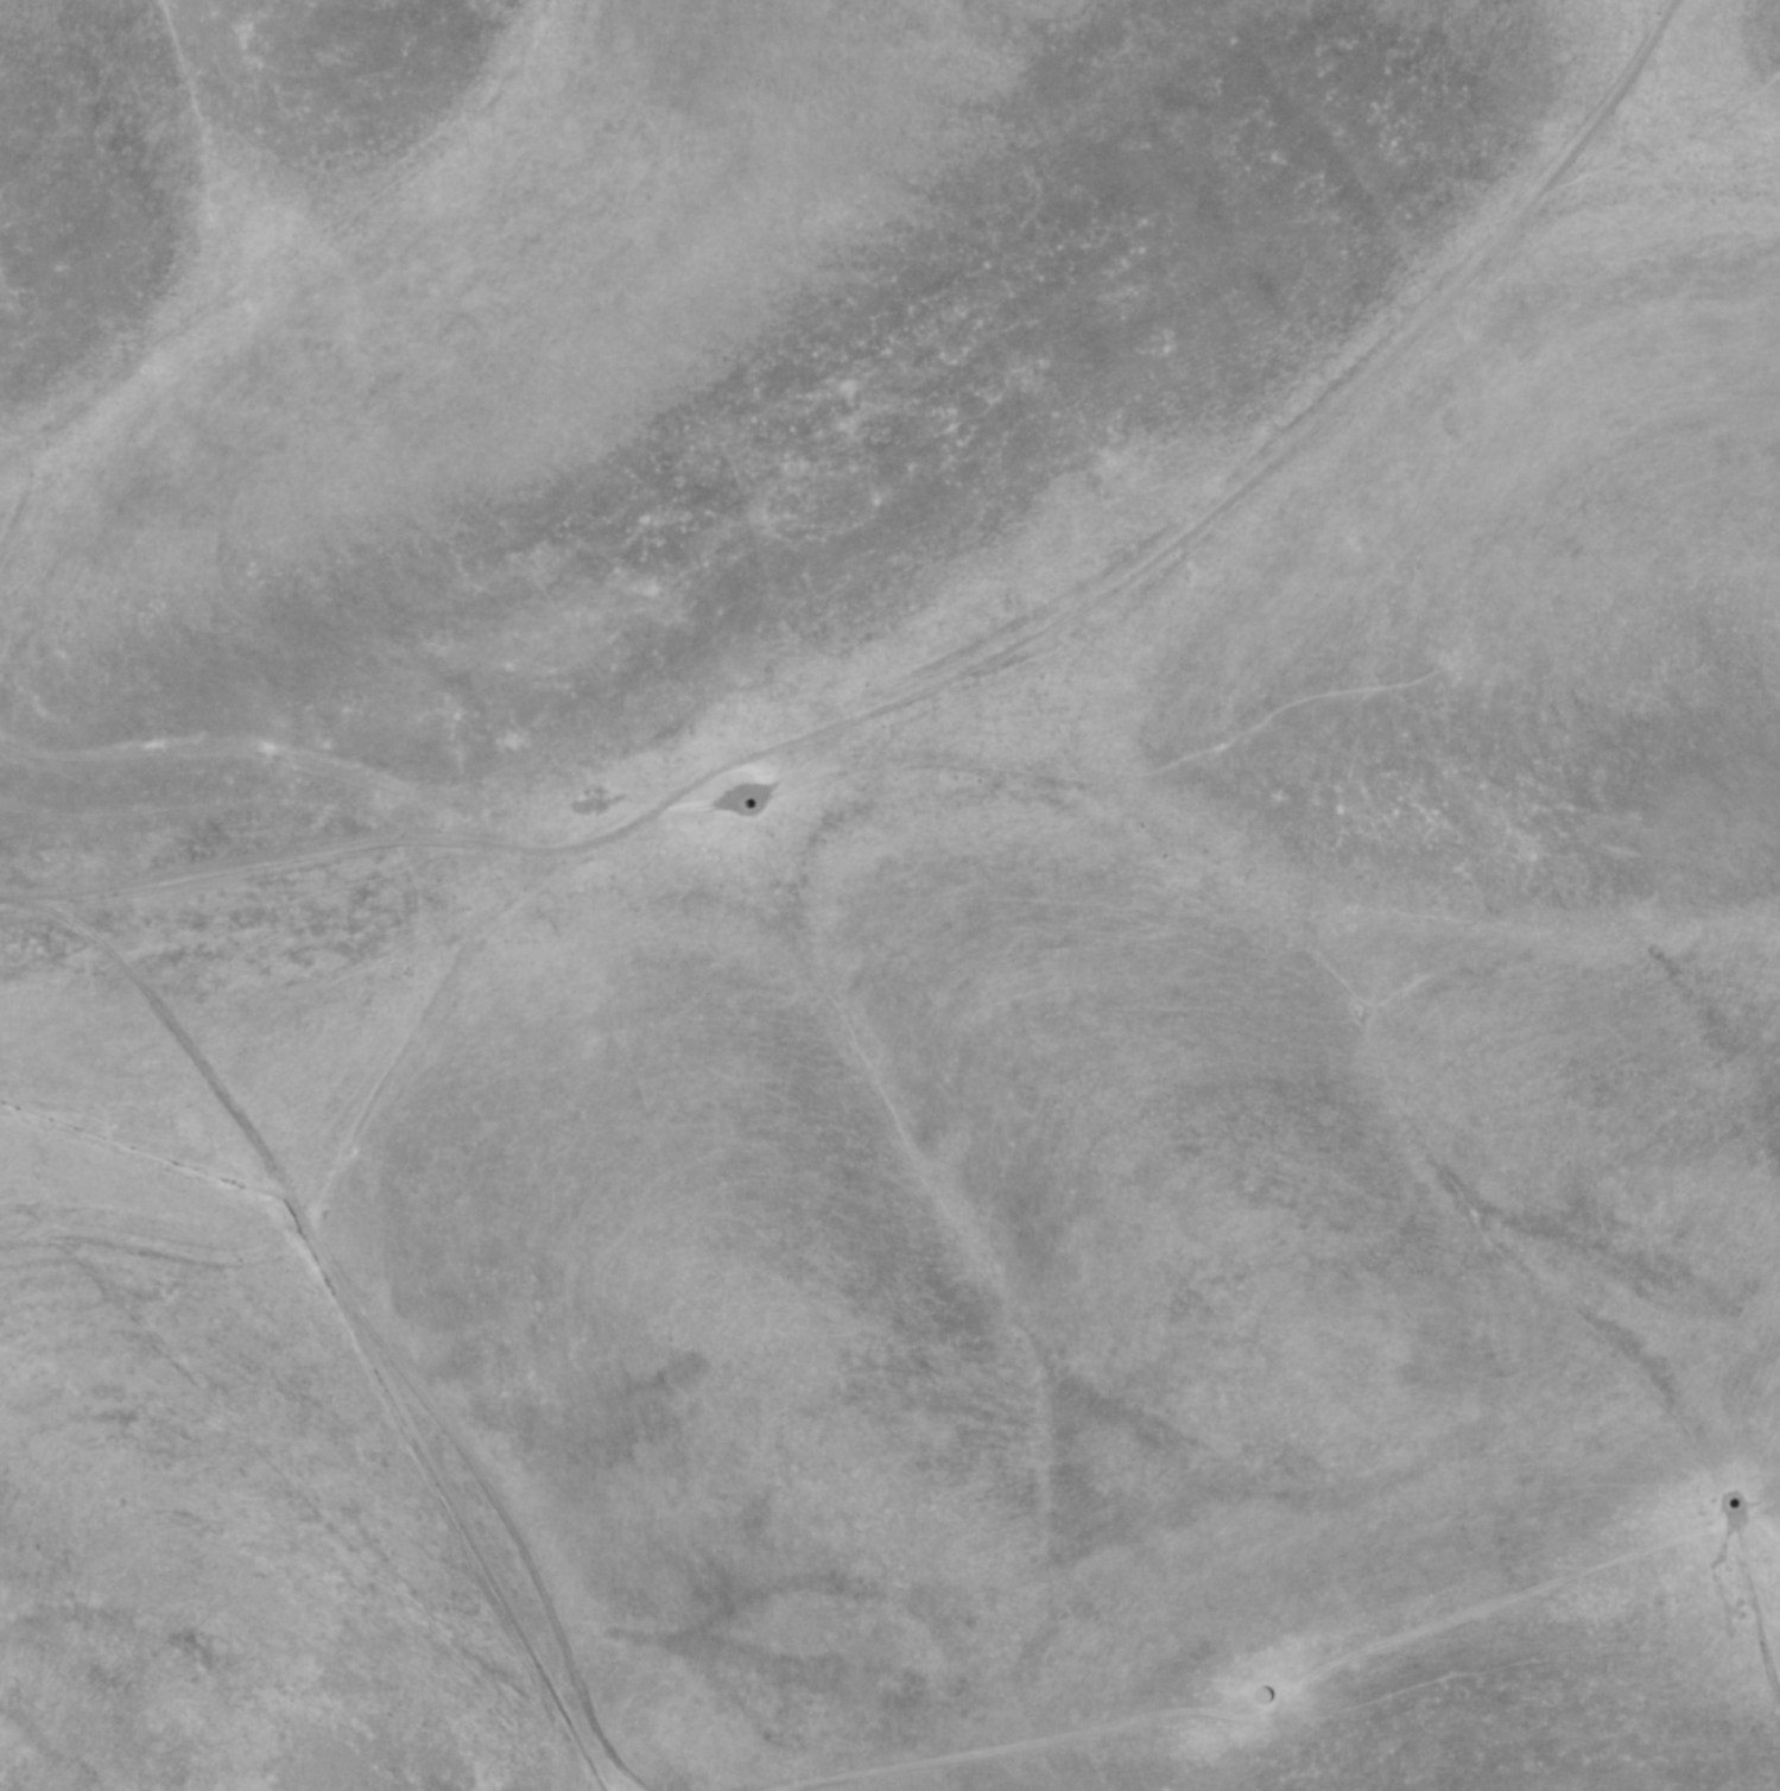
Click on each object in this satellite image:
road: (7, 481)
road: (306, 768)
road: (691, 780)
building: (1256, 1698)

